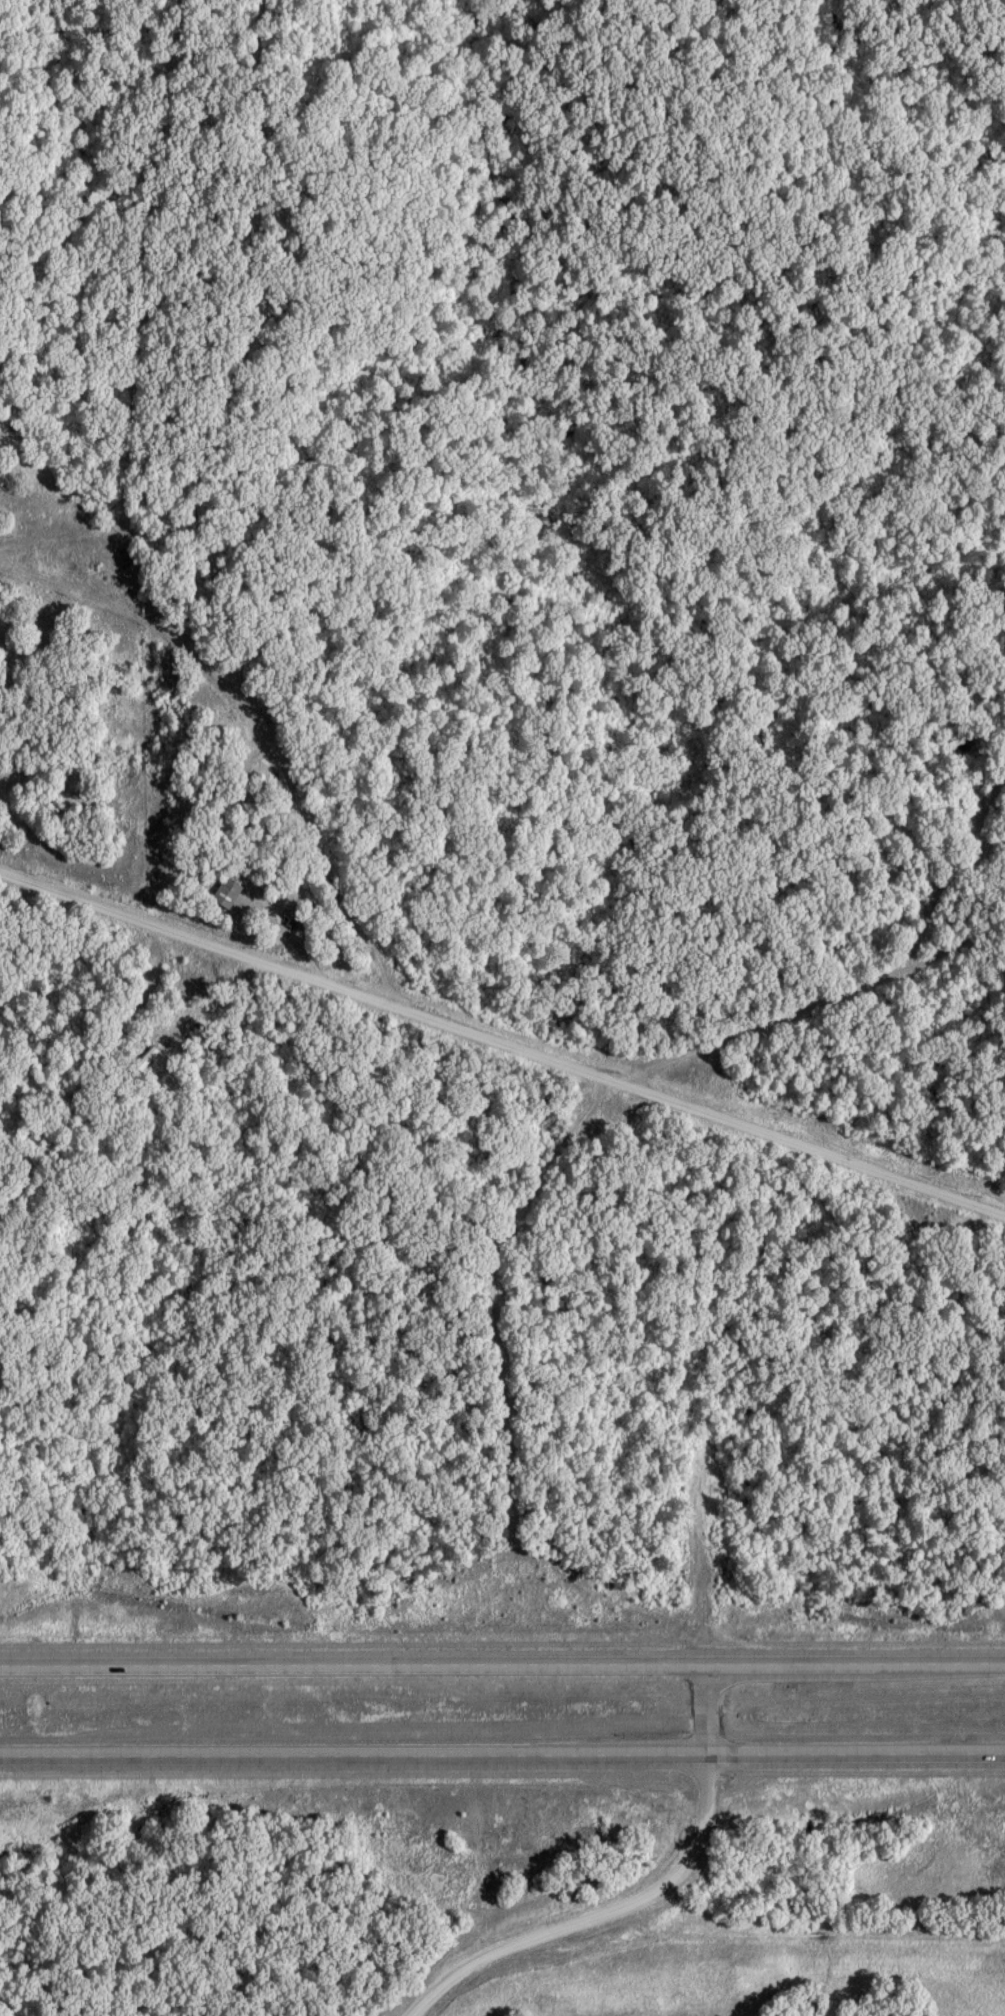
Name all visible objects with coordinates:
building: (231, 894)
road: (502, 1042)
road: (502, 1663)
road: (502, 1754)
road: (701, 1830)

